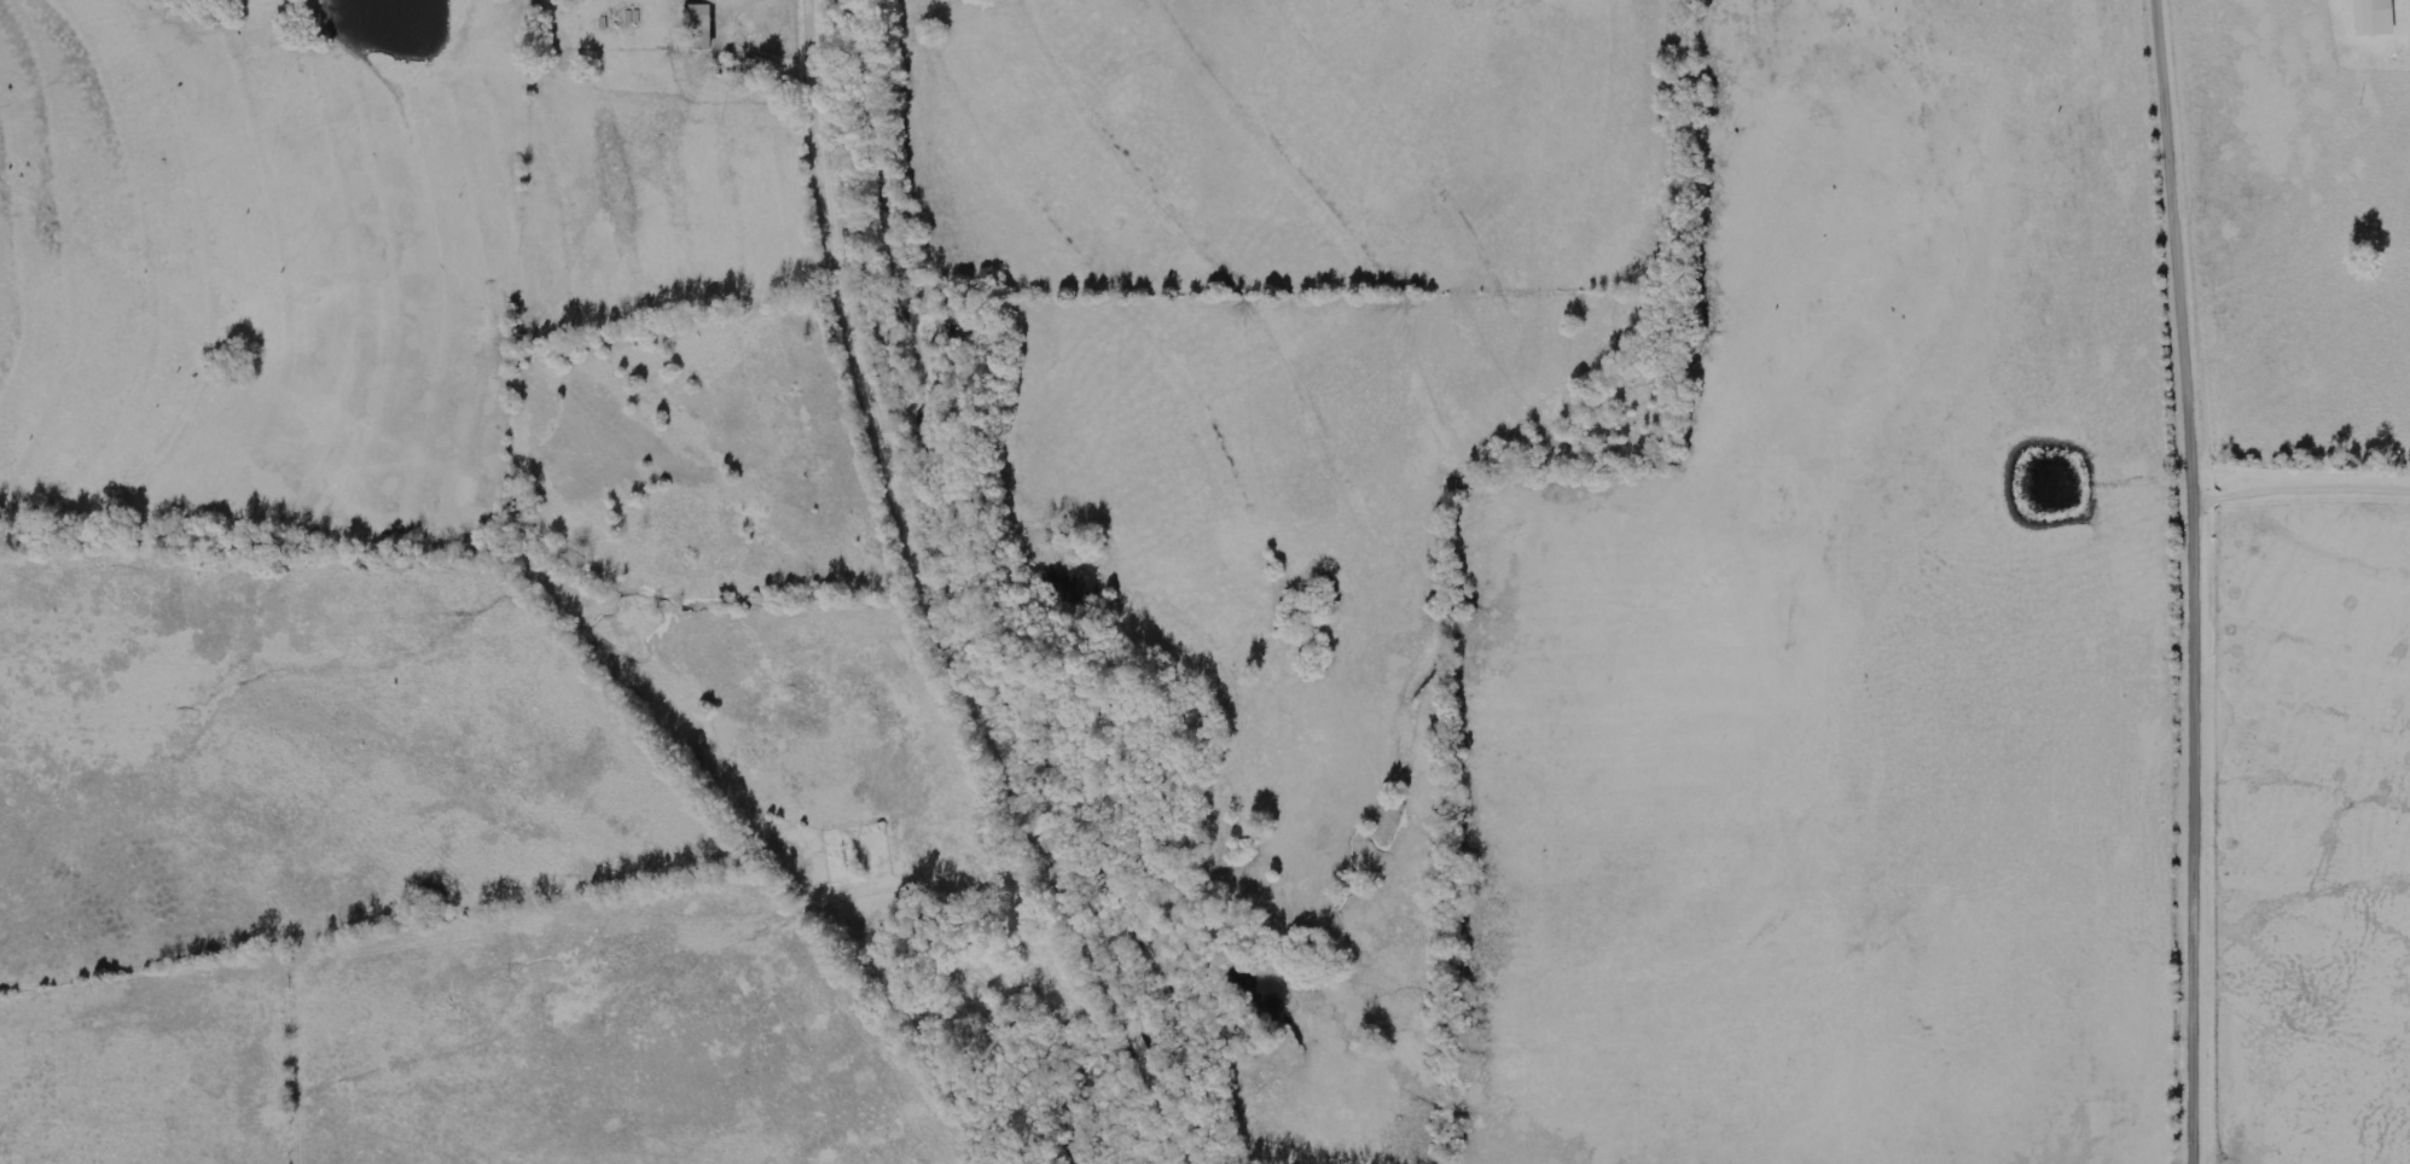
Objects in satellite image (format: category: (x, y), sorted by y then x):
building: (2376, 17)
building: (703, 28)
road: (2202, 581)
road: (941, 604)

